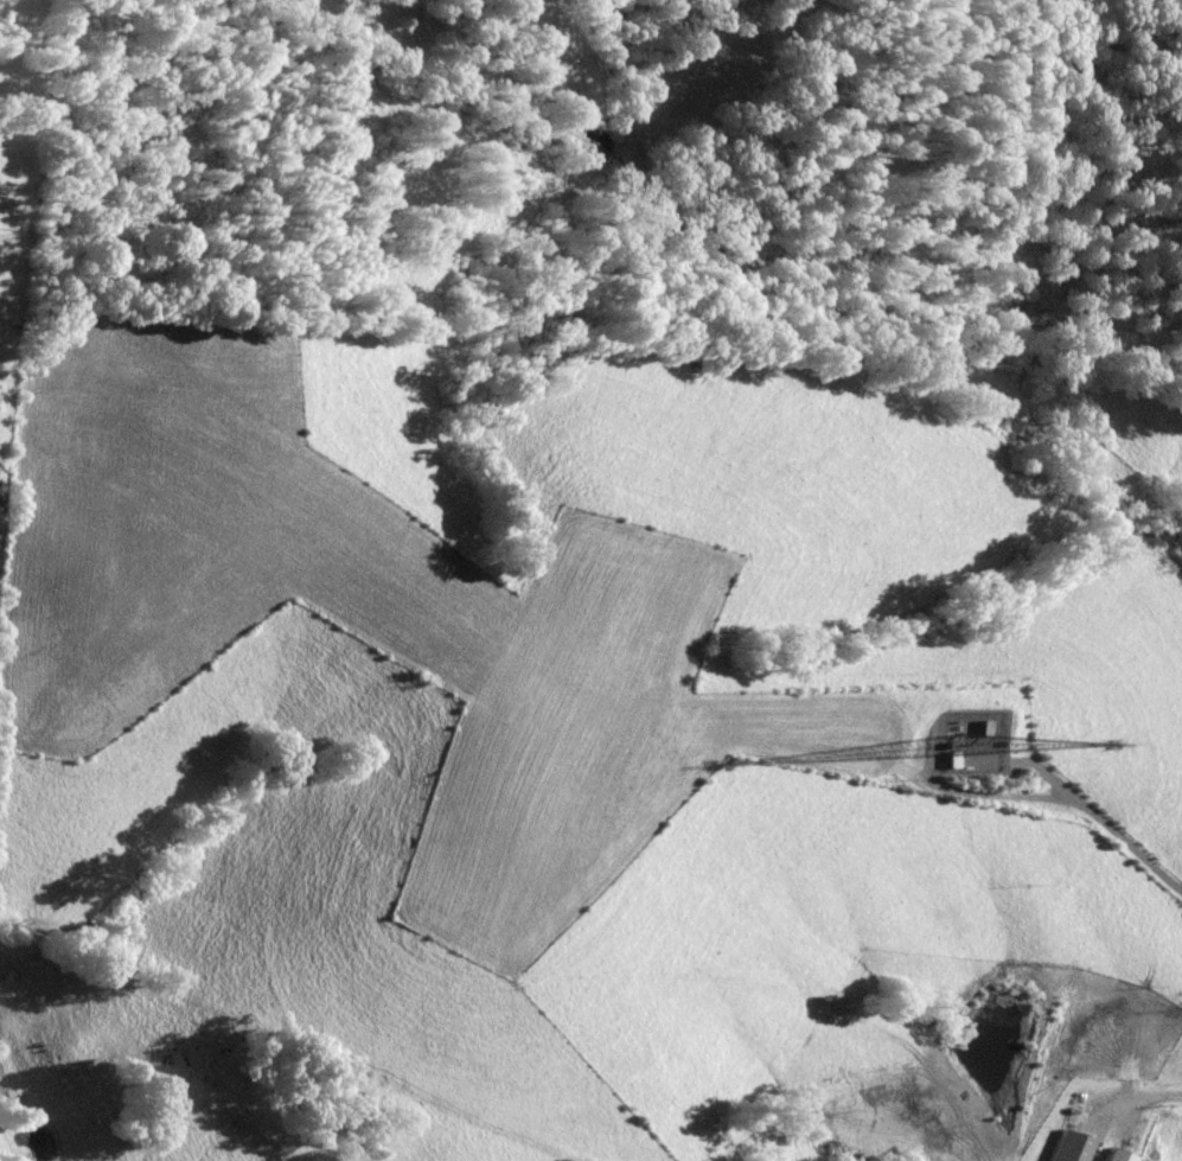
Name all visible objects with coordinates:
road: (1099, 821)
road: (1137, 1097)
building: (1068, 1147)
building: (1113, 1156)

